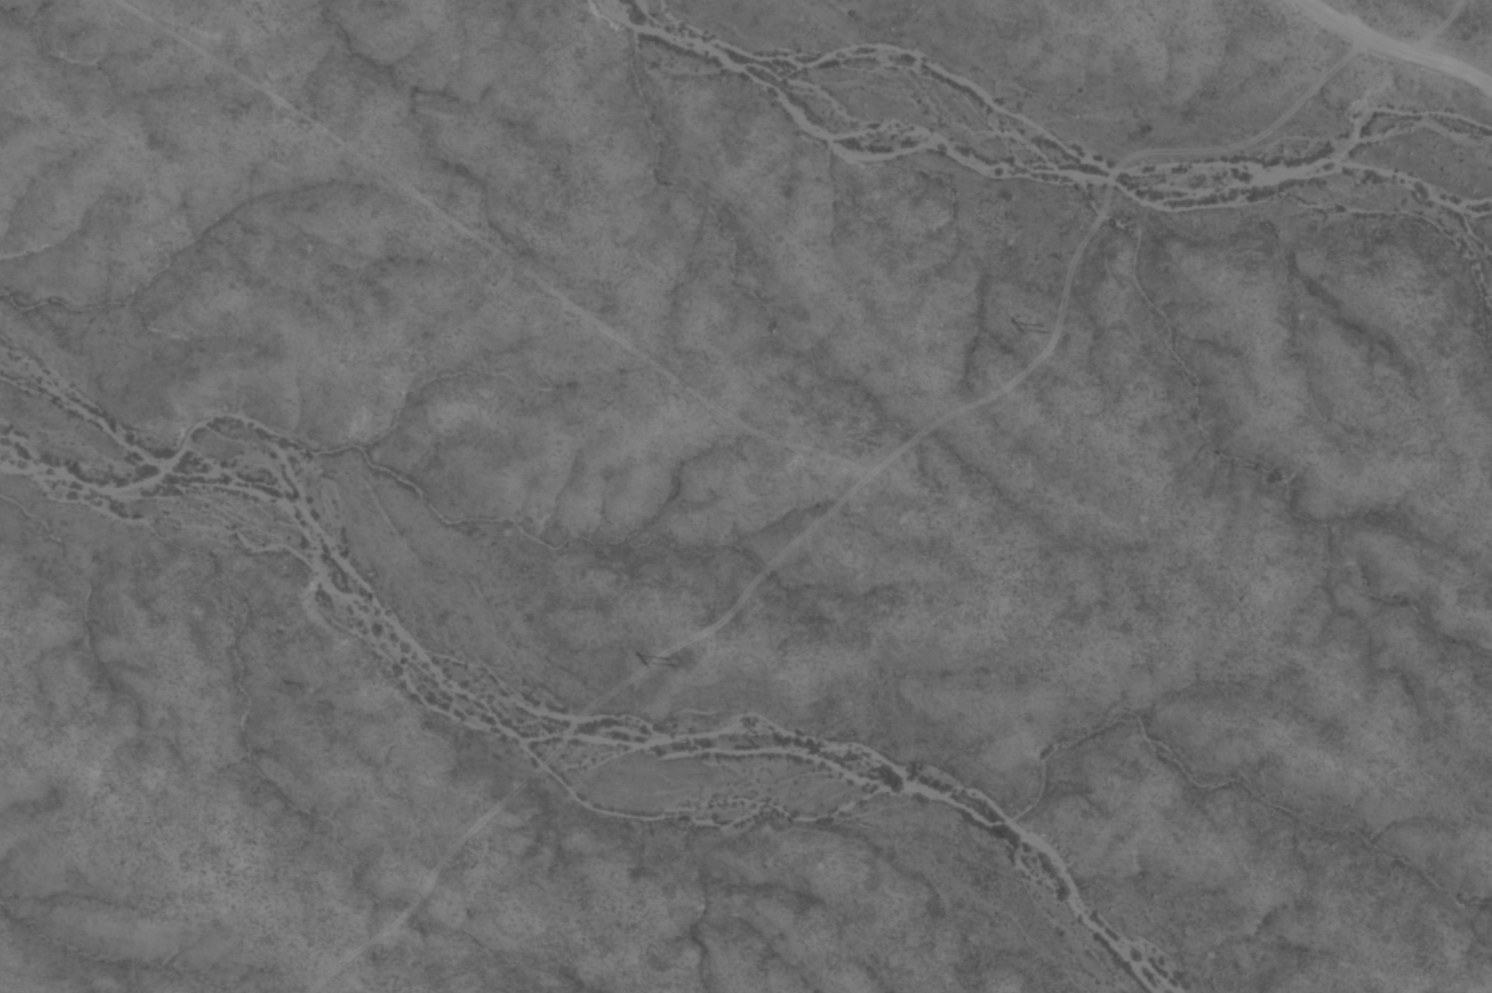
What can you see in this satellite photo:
road: (1421, 49)
road: (464, 227)
power tower: (1048, 329)
power tower: (677, 666)

